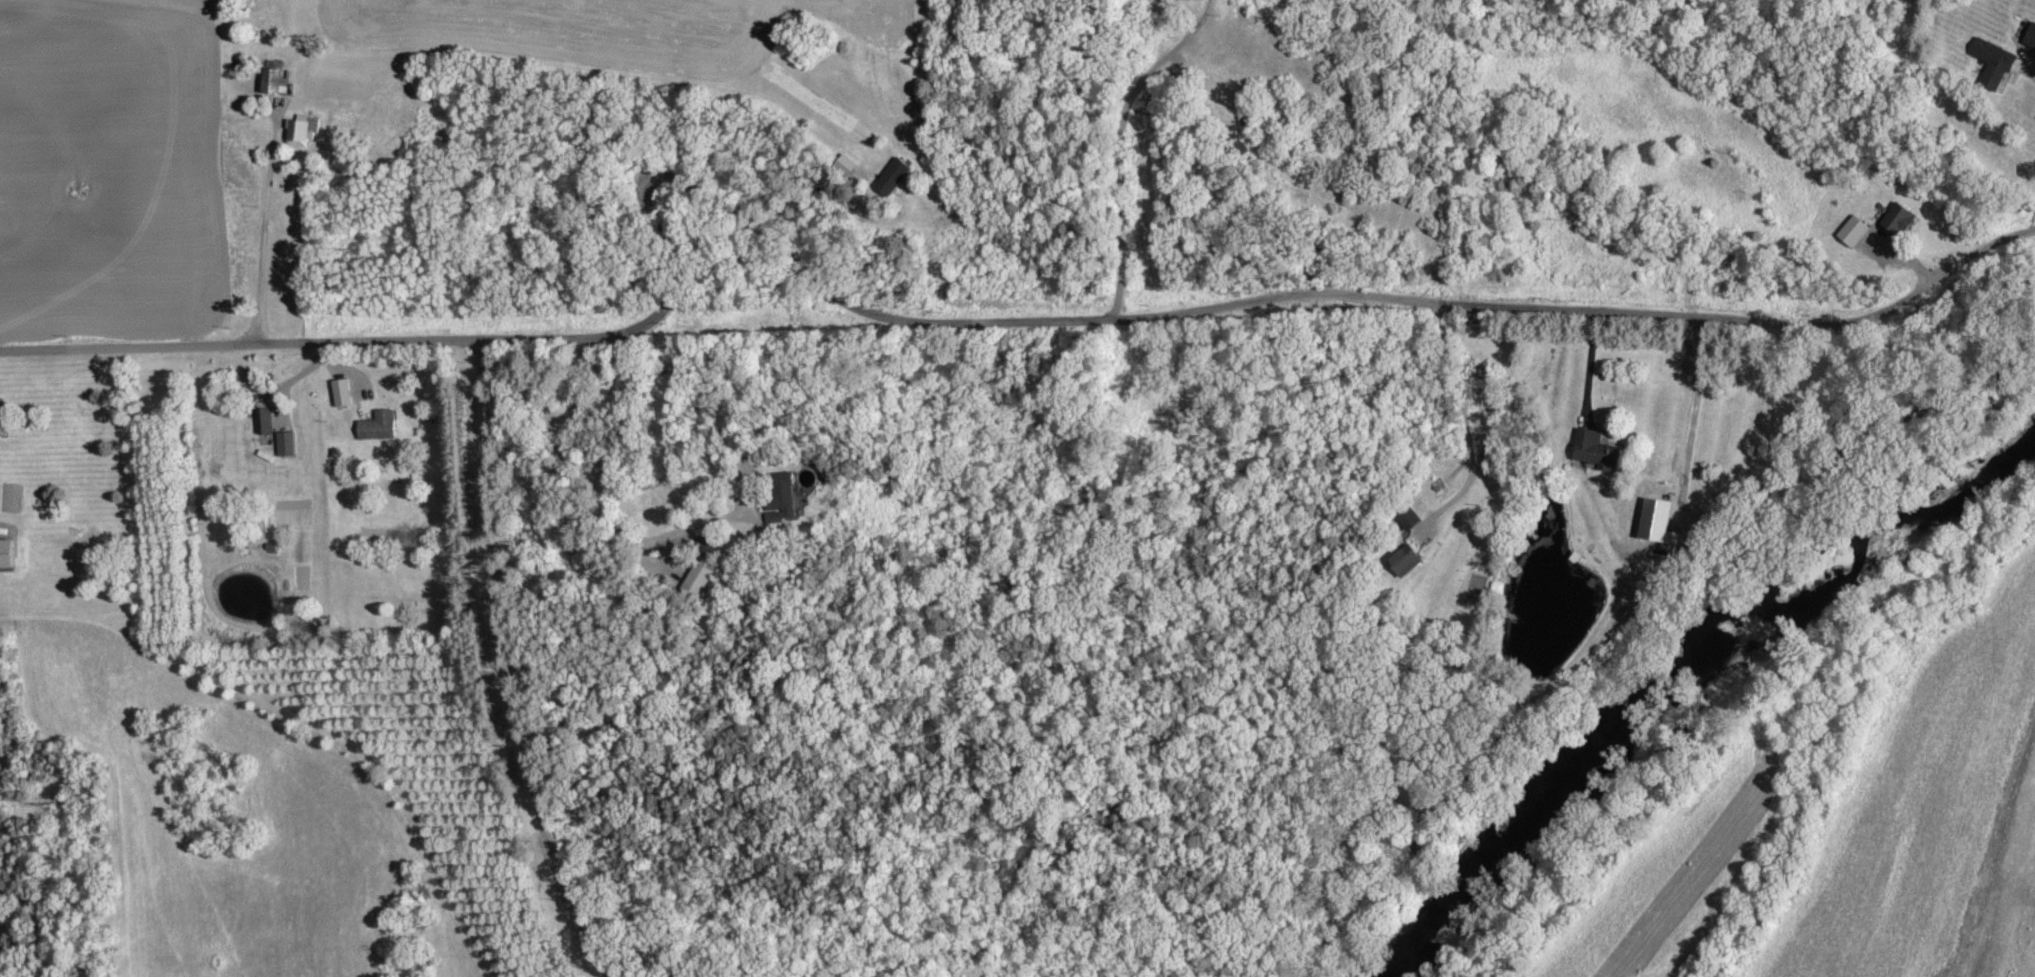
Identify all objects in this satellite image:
building: (1169, 1)
building: (2030, 35)
building: (1993, 62)
road: (2032, 68)
building: (300, 130)
road: (1119, 140)
road: (683, 160)
building: (893, 176)
building: (1899, 219)
road: (268, 226)
building: (1854, 231)
road: (1959, 261)
road: (945, 317)
road: (1592, 363)
building: (341, 392)
building: (264, 420)
building: (378, 426)
road: (1469, 439)
building: (286, 443)
building: (1595, 449)
road: (596, 492)
building: (786, 499)
building: (1411, 519)
building: (1657, 522)
building: (6, 553)
building: (1407, 561)
building: (700, 579)
road: (504, 664)

